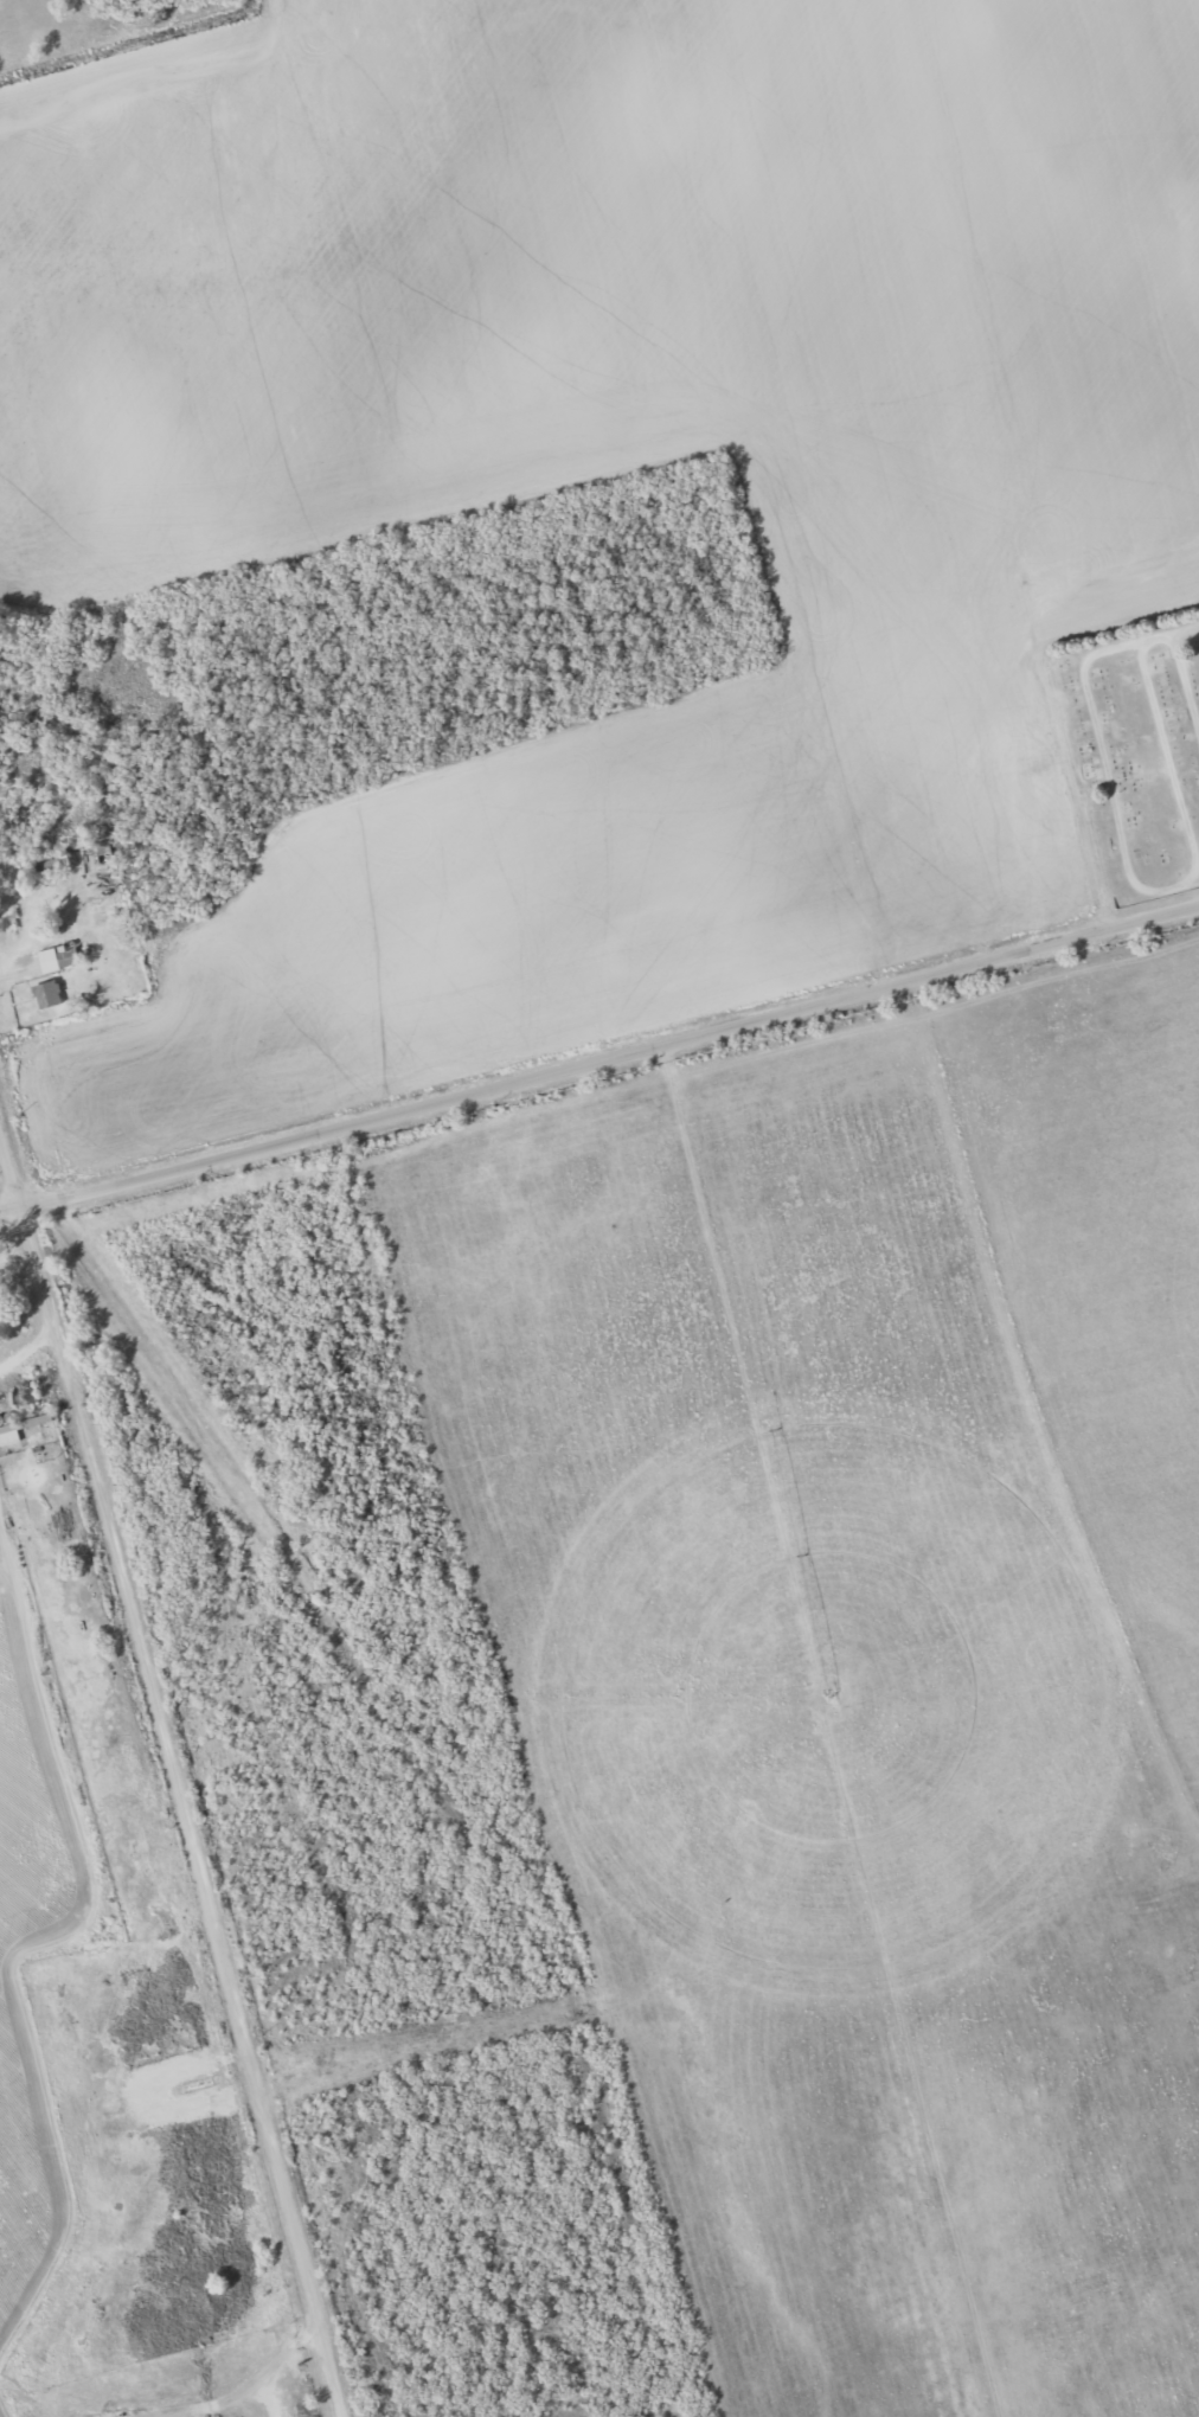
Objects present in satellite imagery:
park: (1136, 746)
building: (51, 867)
building: (52, 904)
building: (47, 959)
building: (46, 989)
road: (610, 1056)
road: (11, 1162)
road: (11, 1211)
building: (24, 1428)
road: (184, 1813)

